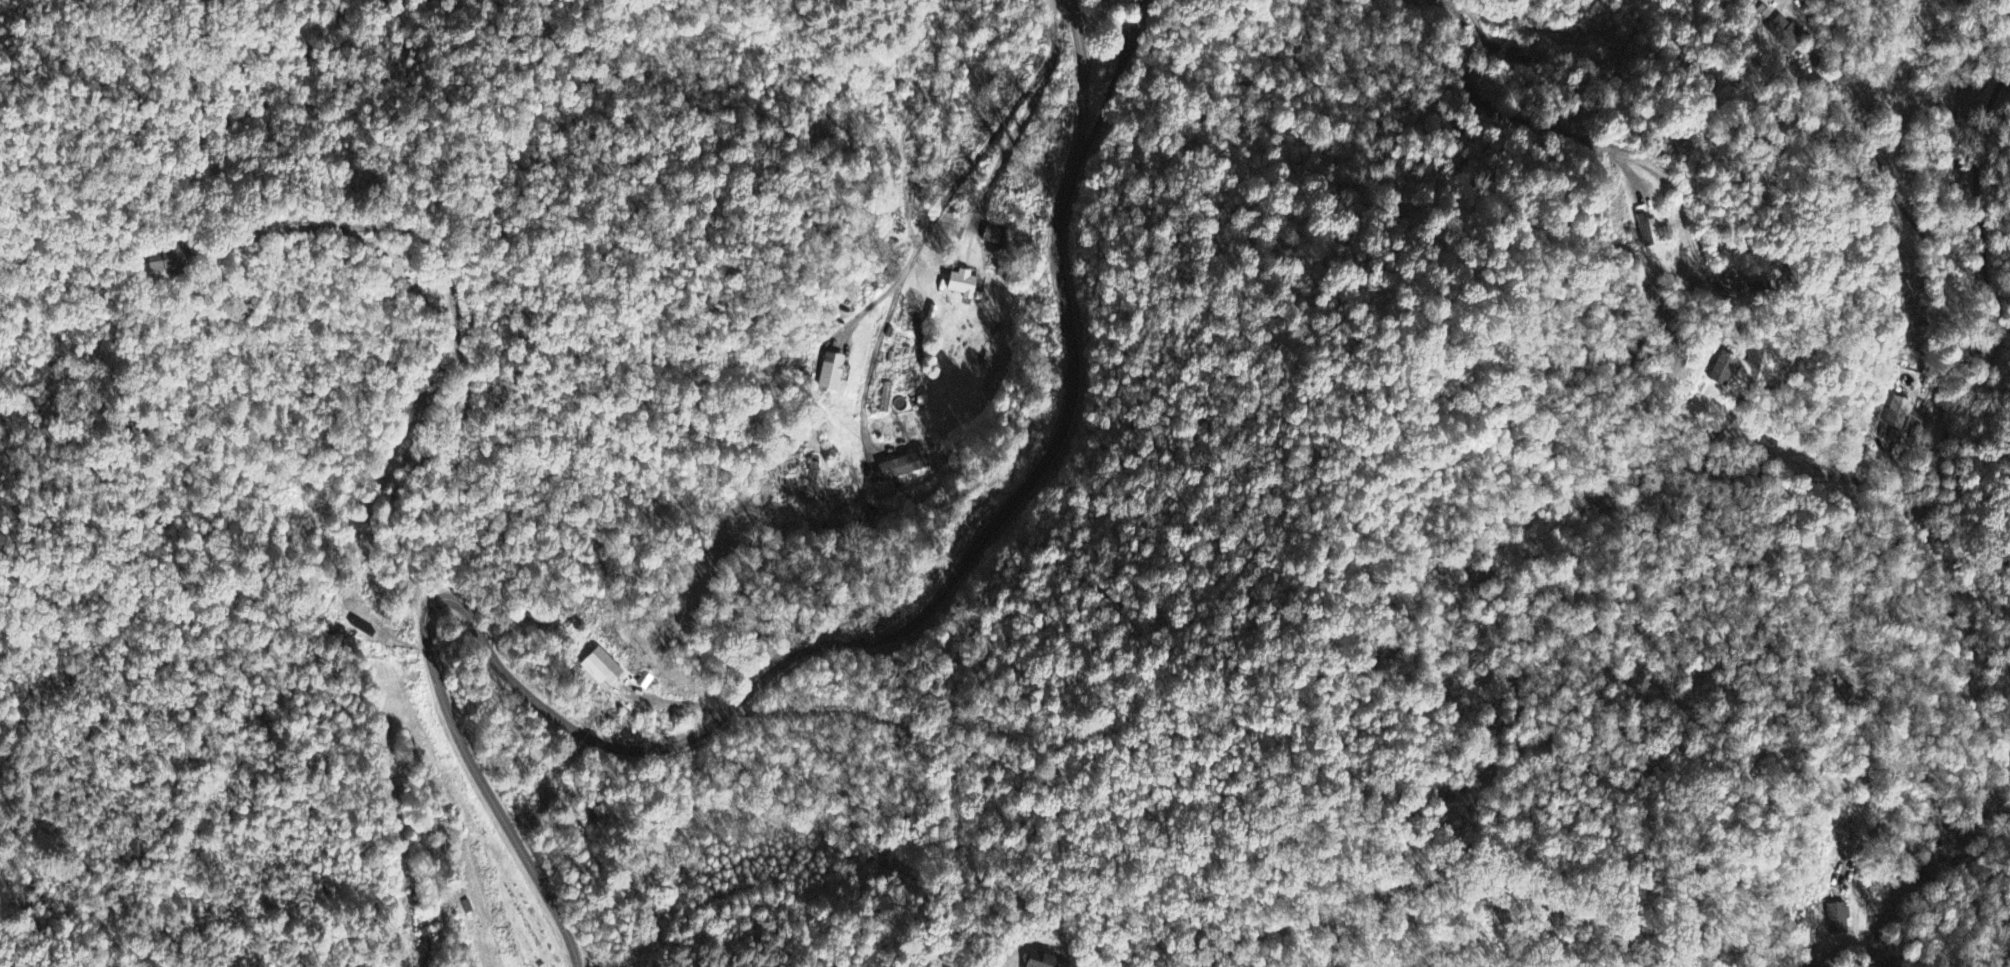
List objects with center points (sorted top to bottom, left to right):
building: (1123, 2)
building: (1785, 33)
road: (1016, 135)
road: (965, 173)
building: (1644, 232)
building: (169, 262)
building: (959, 286)
road: (448, 323)
building: (905, 348)
road: (873, 358)
building: (1722, 371)
building: (830, 373)
building: (1898, 415)
building: (905, 467)
building: (814, 481)
road: (779, 664)
building: (603, 668)
road: (679, 701)
building: (1838, 920)
building: (1038, 960)

